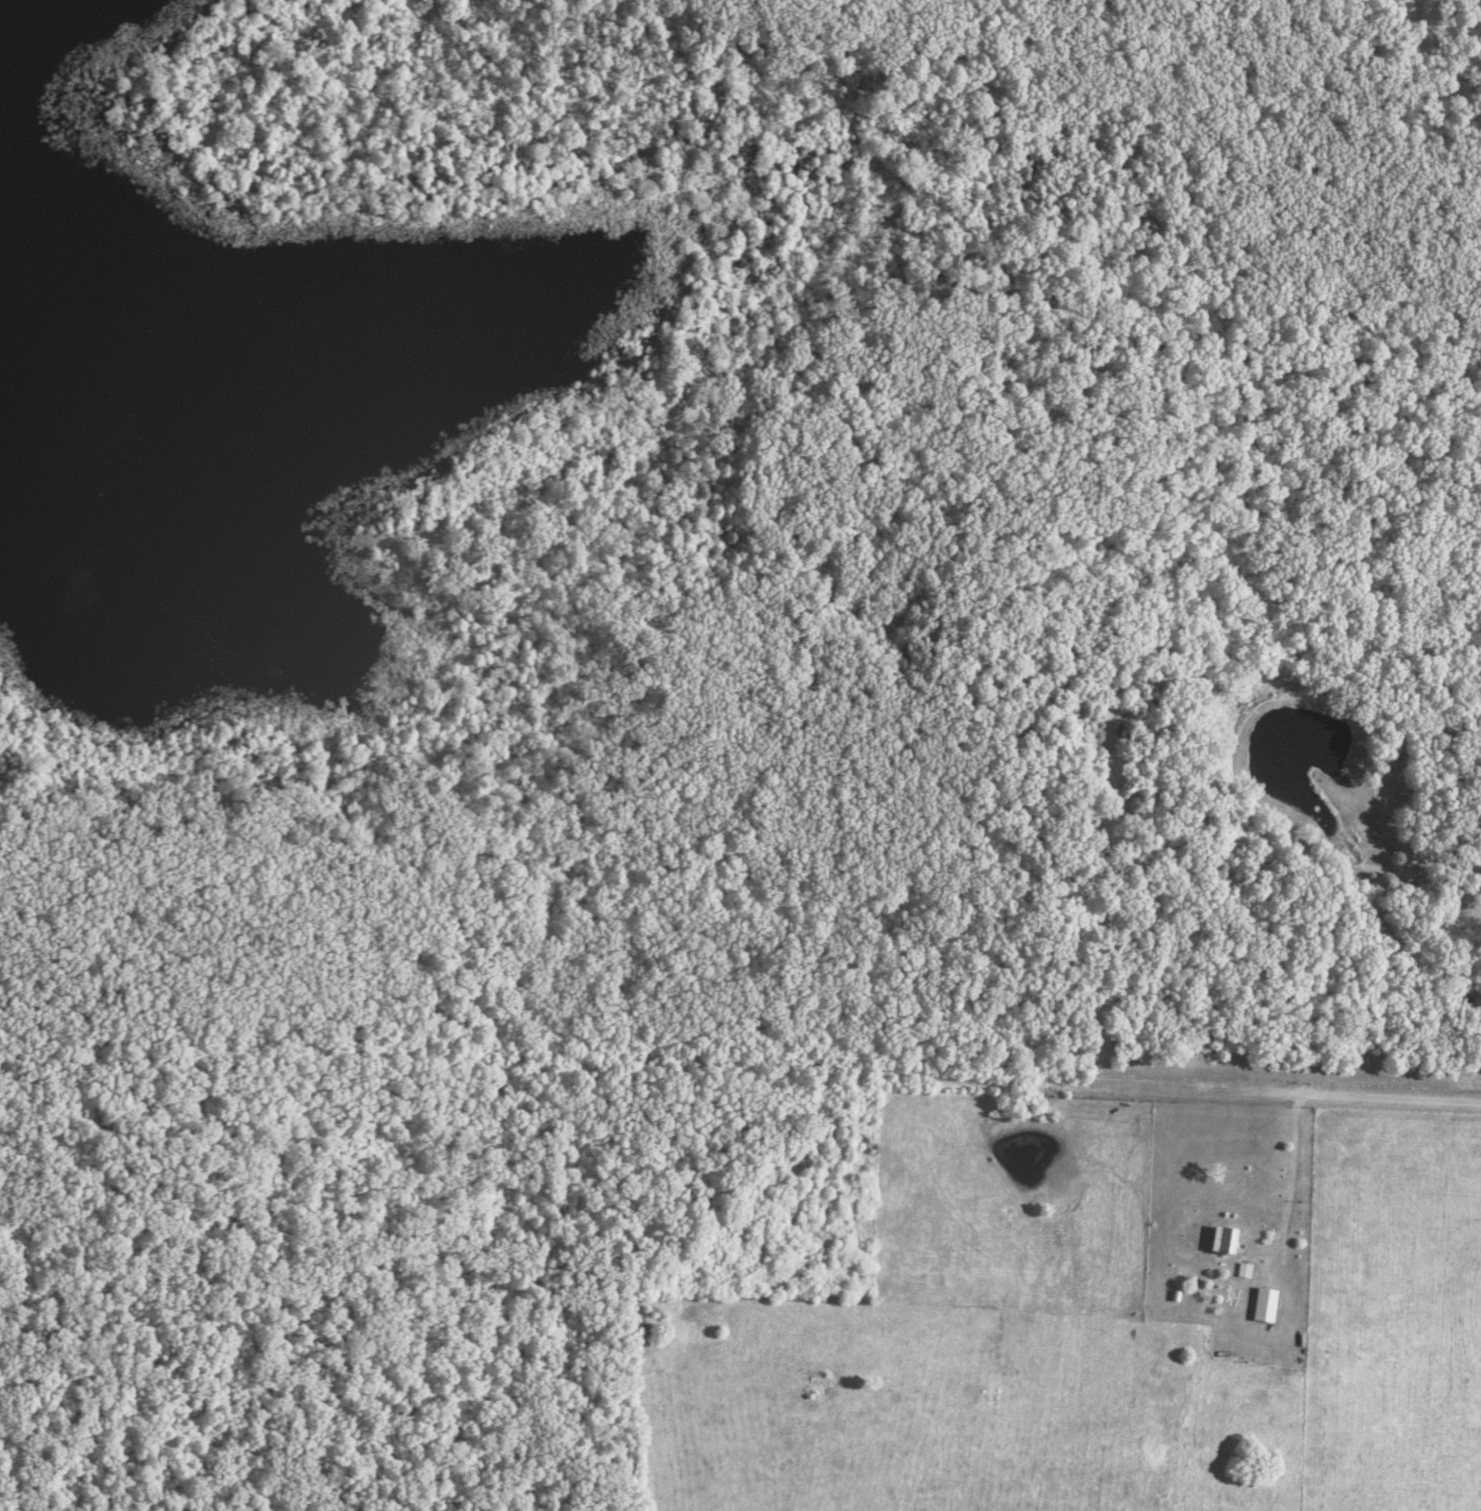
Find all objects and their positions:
road: (740, 1067)
building: (1224, 1241)

